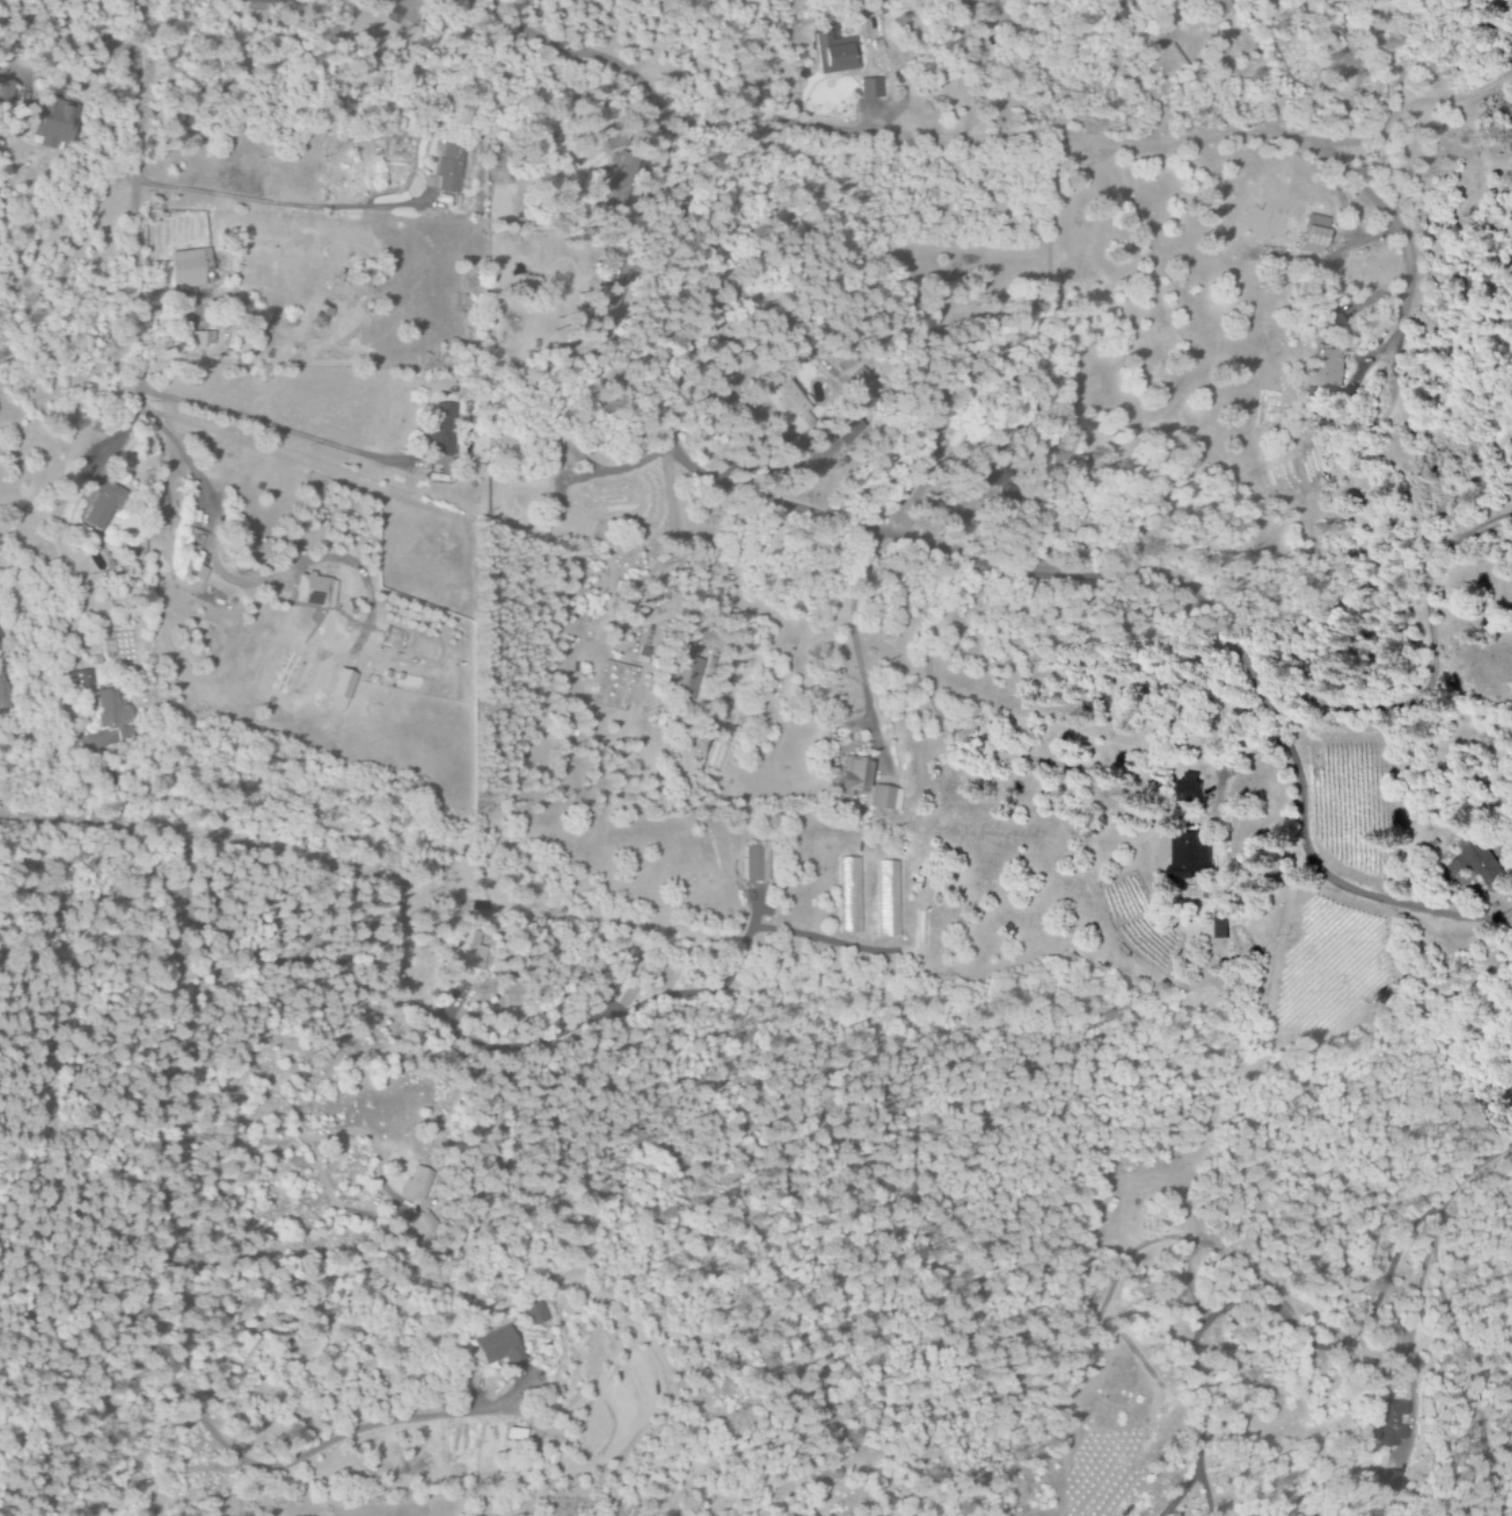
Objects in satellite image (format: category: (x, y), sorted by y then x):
building: (266, 1)
building: (403, 8)
building: (1217, 8)
building: (1336, 44)
building: (834, 55)
road: (569, 70)
building: (5, 93)
building: (52, 122)
road: (1109, 146)
building: (450, 167)
building: (615, 183)
road: (250, 203)
road: (125, 205)
building: (1313, 235)
building: (188, 268)
building: (603, 311)
building: (199, 340)
building: (1331, 368)
building: (789, 407)
building: (442, 430)
building: (845, 430)
building: (986, 476)
building: (102, 503)
road: (1404, 524)
road: (954, 569)
building: (200, 574)
building: (312, 590)
building: (683, 677)
building: (82, 679)
building: (340, 690)
building: (3, 692)
building: (112, 709)
building: (720, 714)
building: (853, 775)
building: (1189, 788)
building: (885, 798)
building: (1192, 855)
building: (753, 864)
building: (1485, 865)
building: (849, 896)
building: (887, 899)
building: (1220, 924)
building: (468, 950)
building: (621, 992)
road: (1271, 993)
road: (104, 1000)
building: (416, 1183)
building: (422, 1225)
building: (537, 1312)
building: (499, 1347)
building: (1390, 1423)
road: (144, 1432)
building: (514, 1434)
building: (830, 1473)
building: (1384, 1480)

